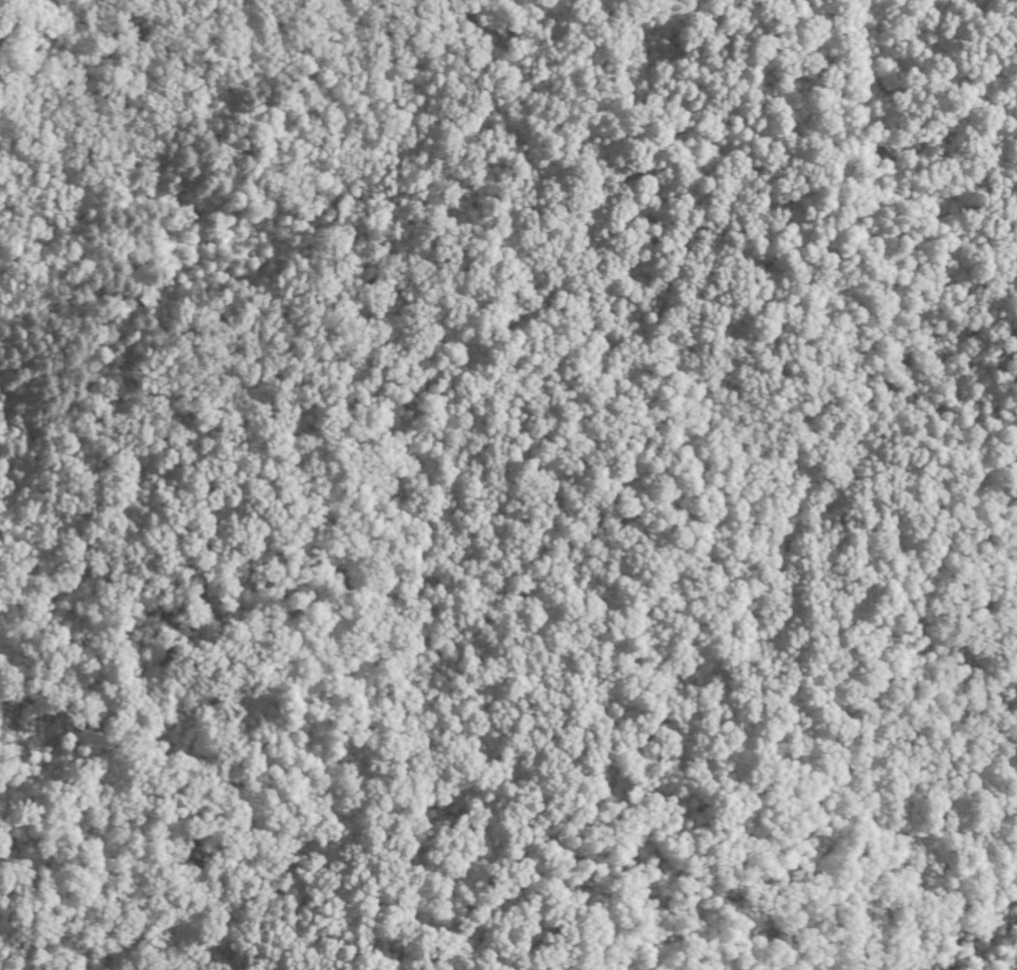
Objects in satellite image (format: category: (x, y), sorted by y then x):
road: (676, 447)

